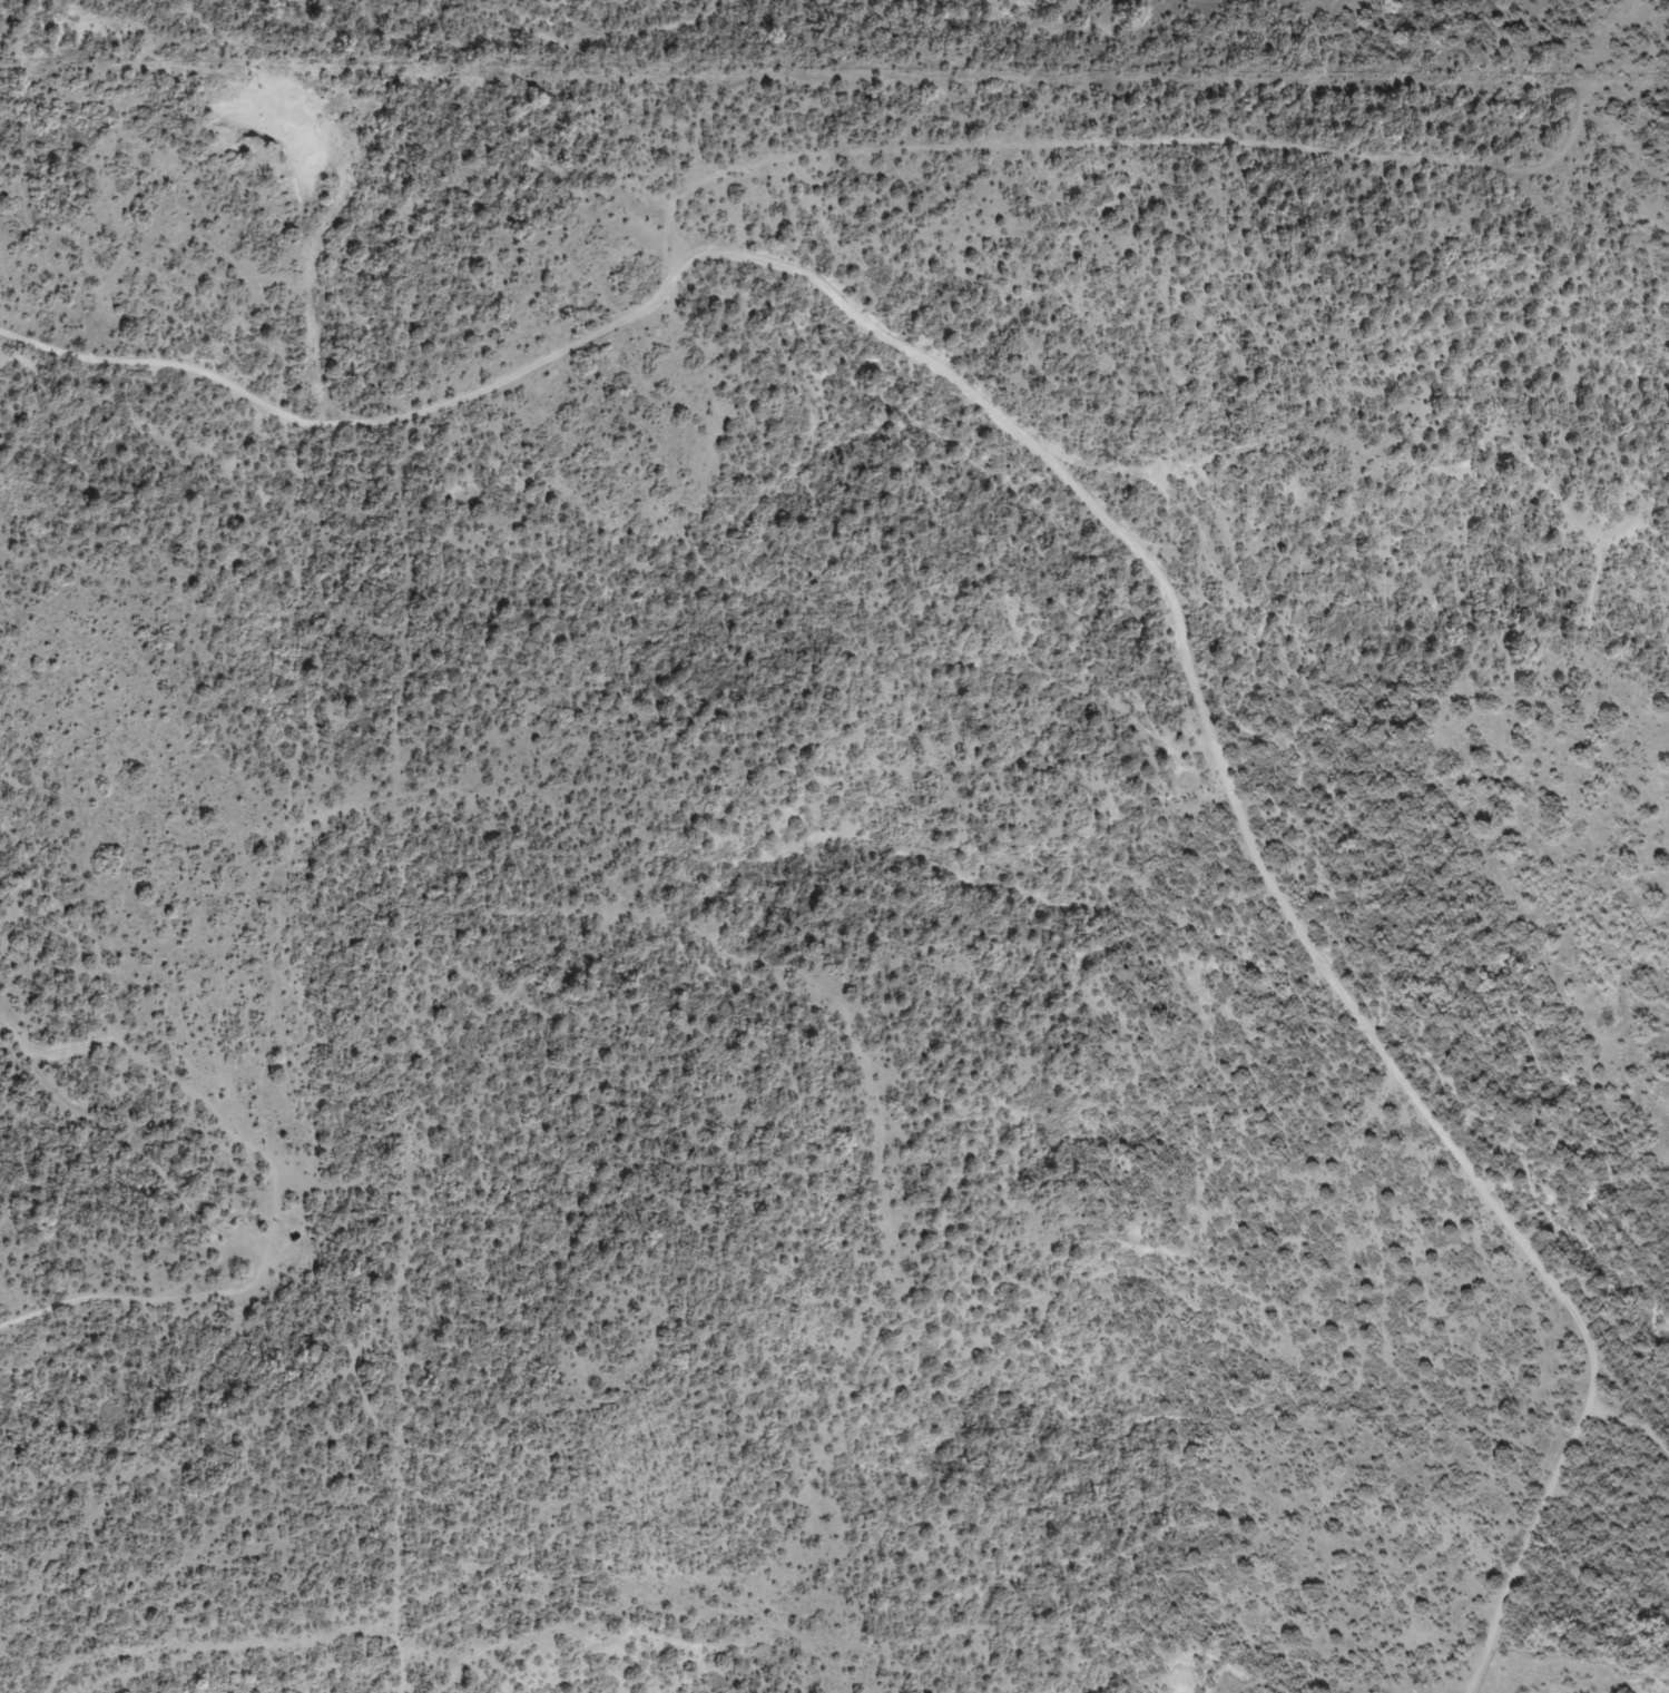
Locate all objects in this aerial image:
road: (382, 447)
road: (1213, 776)
road: (145, 1361)
road: (1627, 1398)

